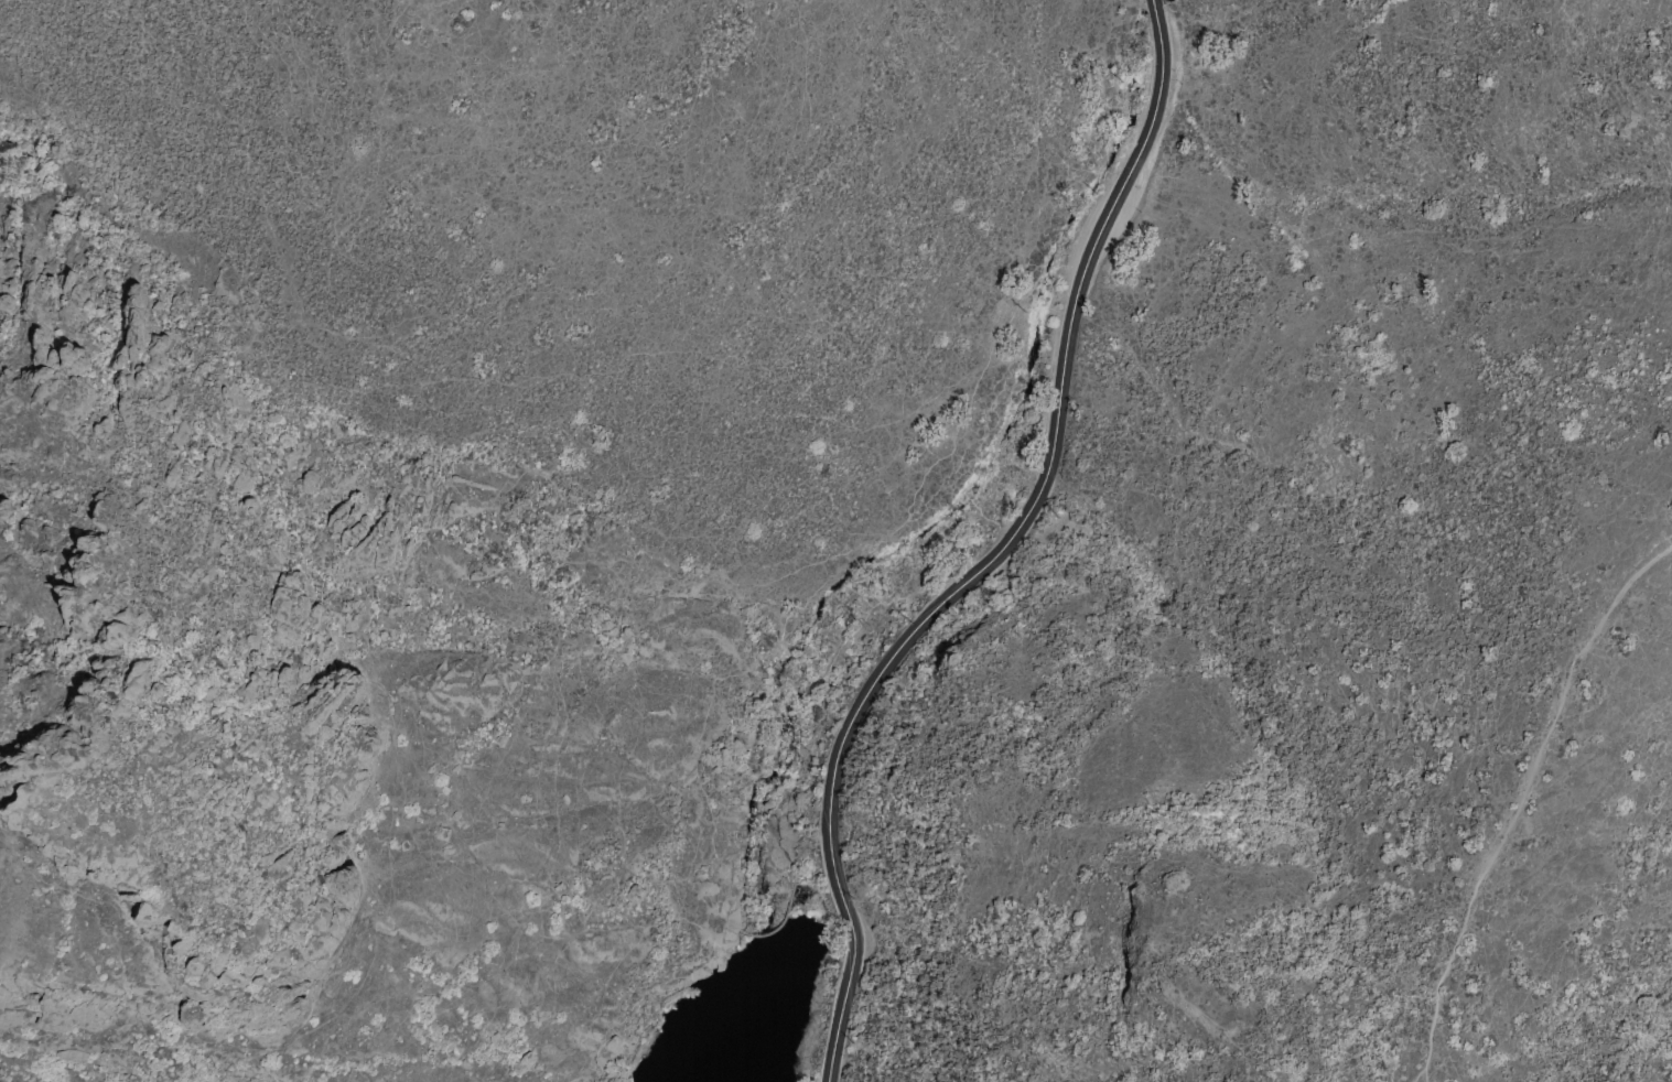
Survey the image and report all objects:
road: (1155, 17)
road: (985, 566)
road: (1523, 802)
dam: (784, 918)
road: (1422, 1071)

